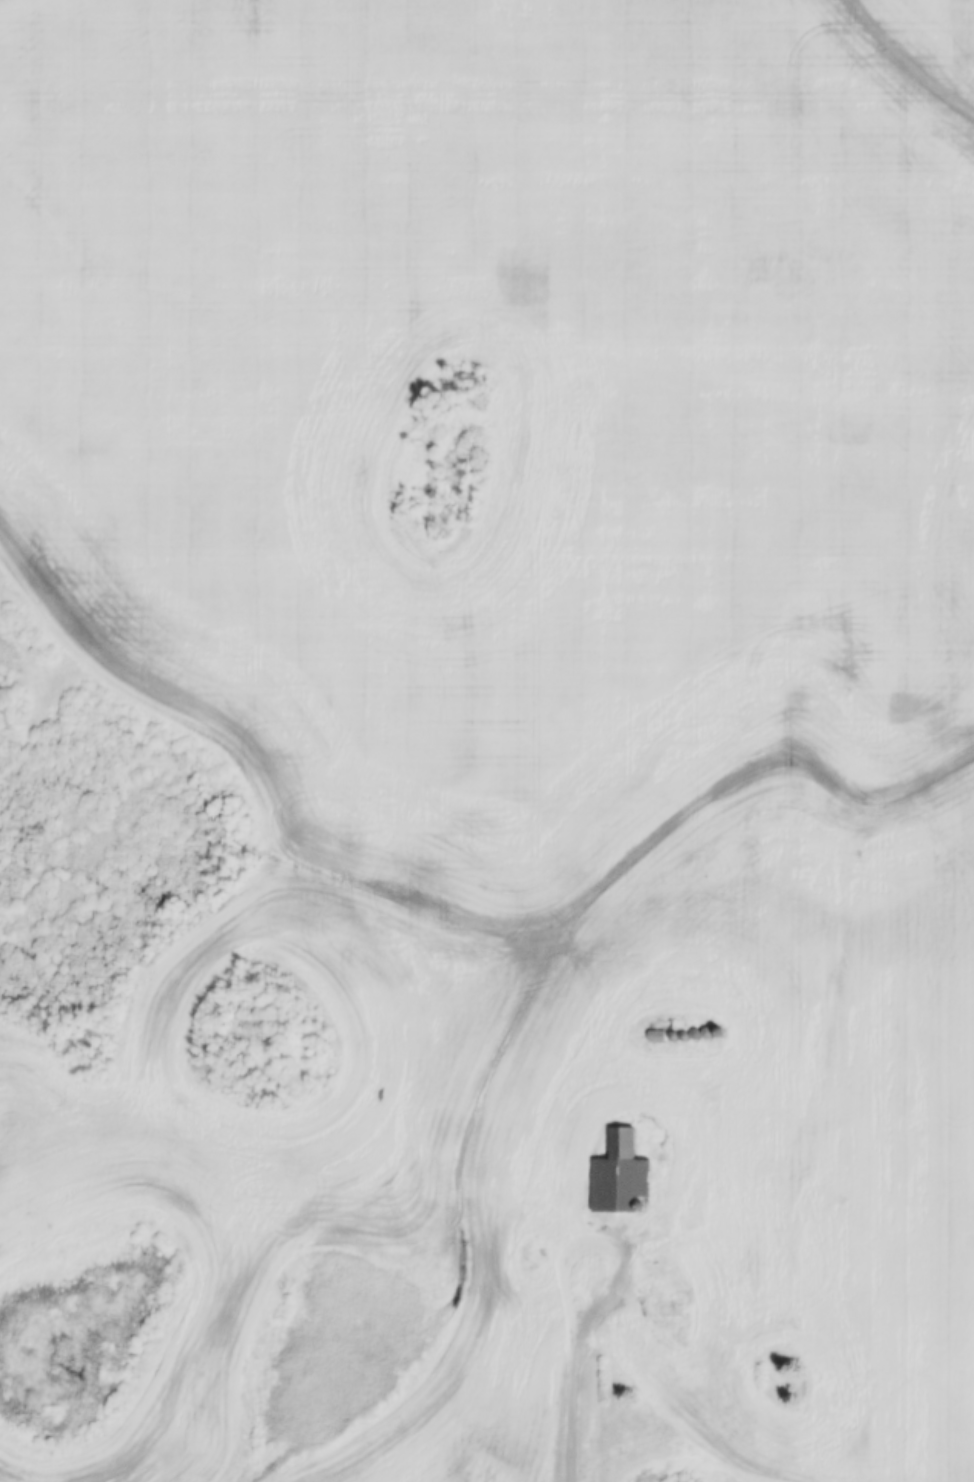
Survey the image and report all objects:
building: (657, 1035)
building: (620, 1173)
building: (664, 1327)
road: (577, 1376)

